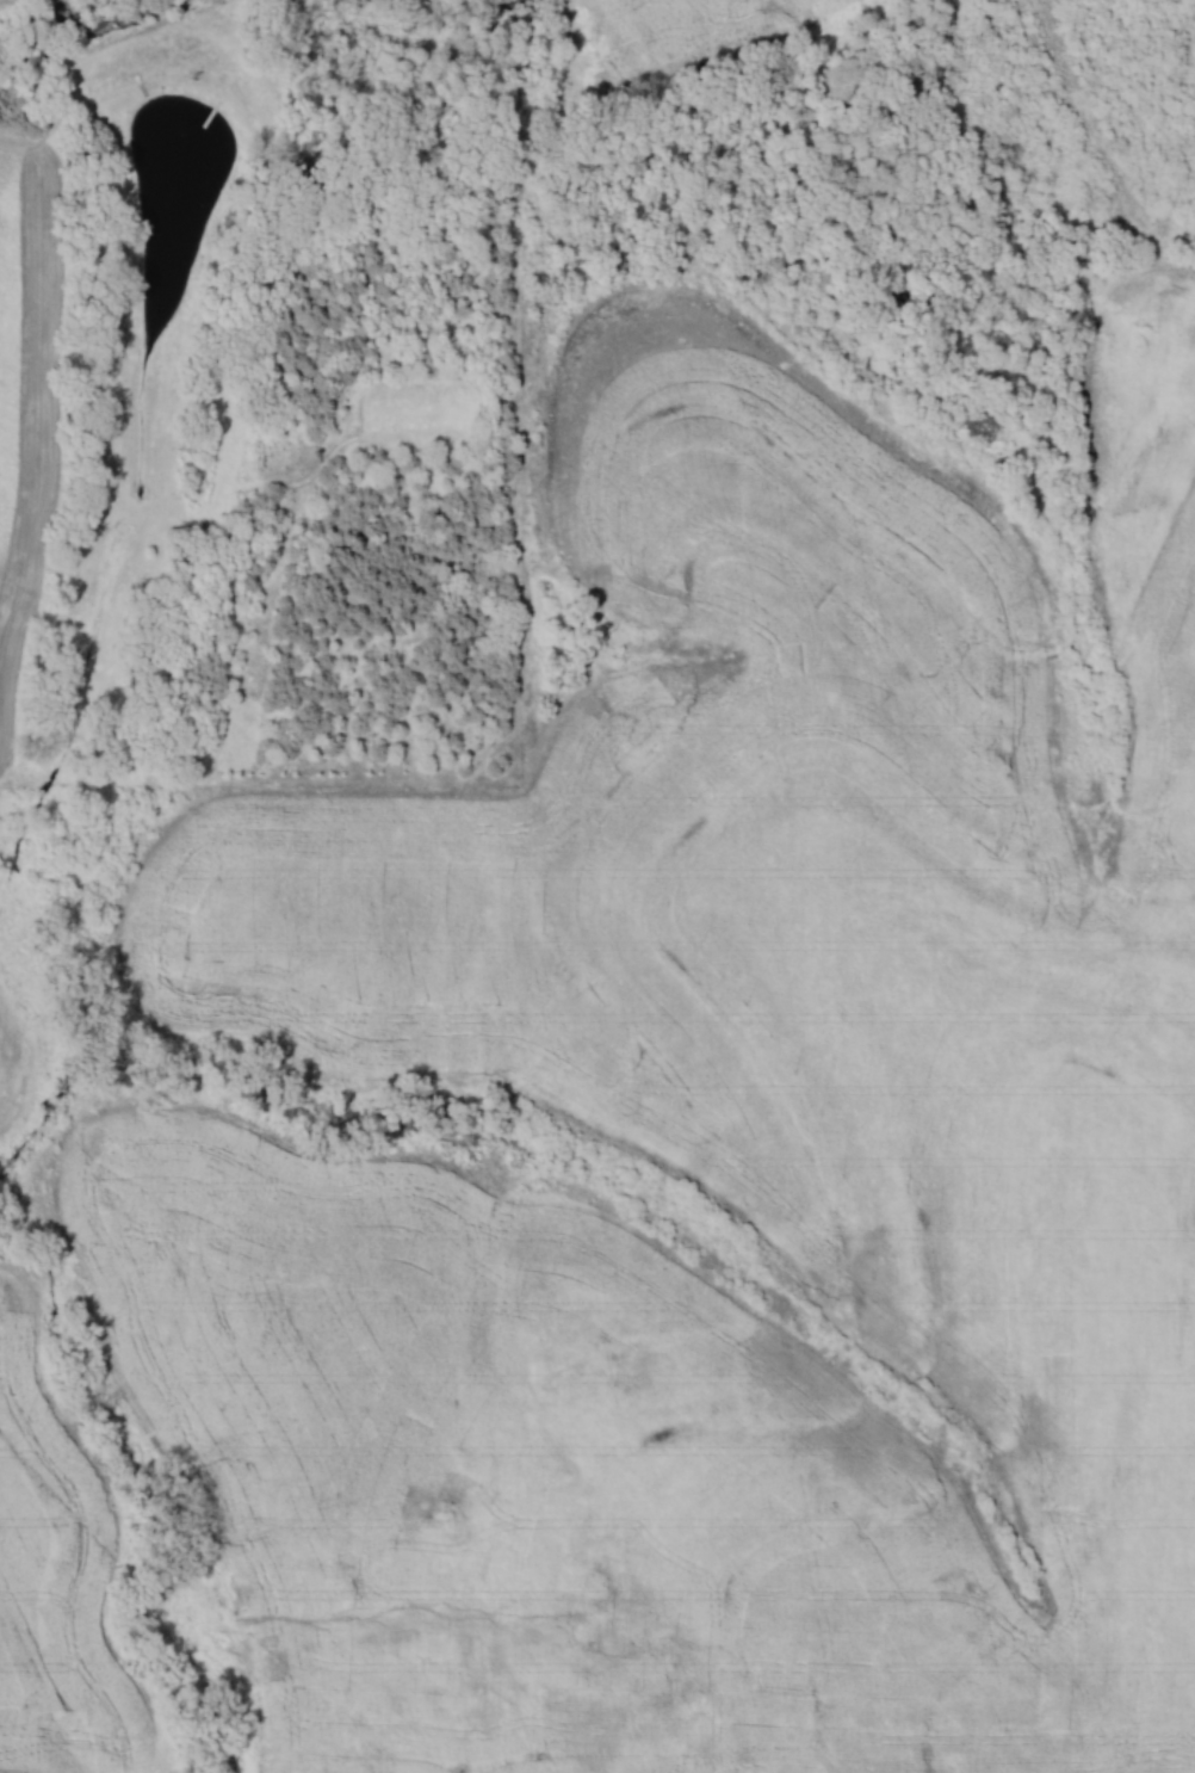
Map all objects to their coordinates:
building: (444, 1509)

